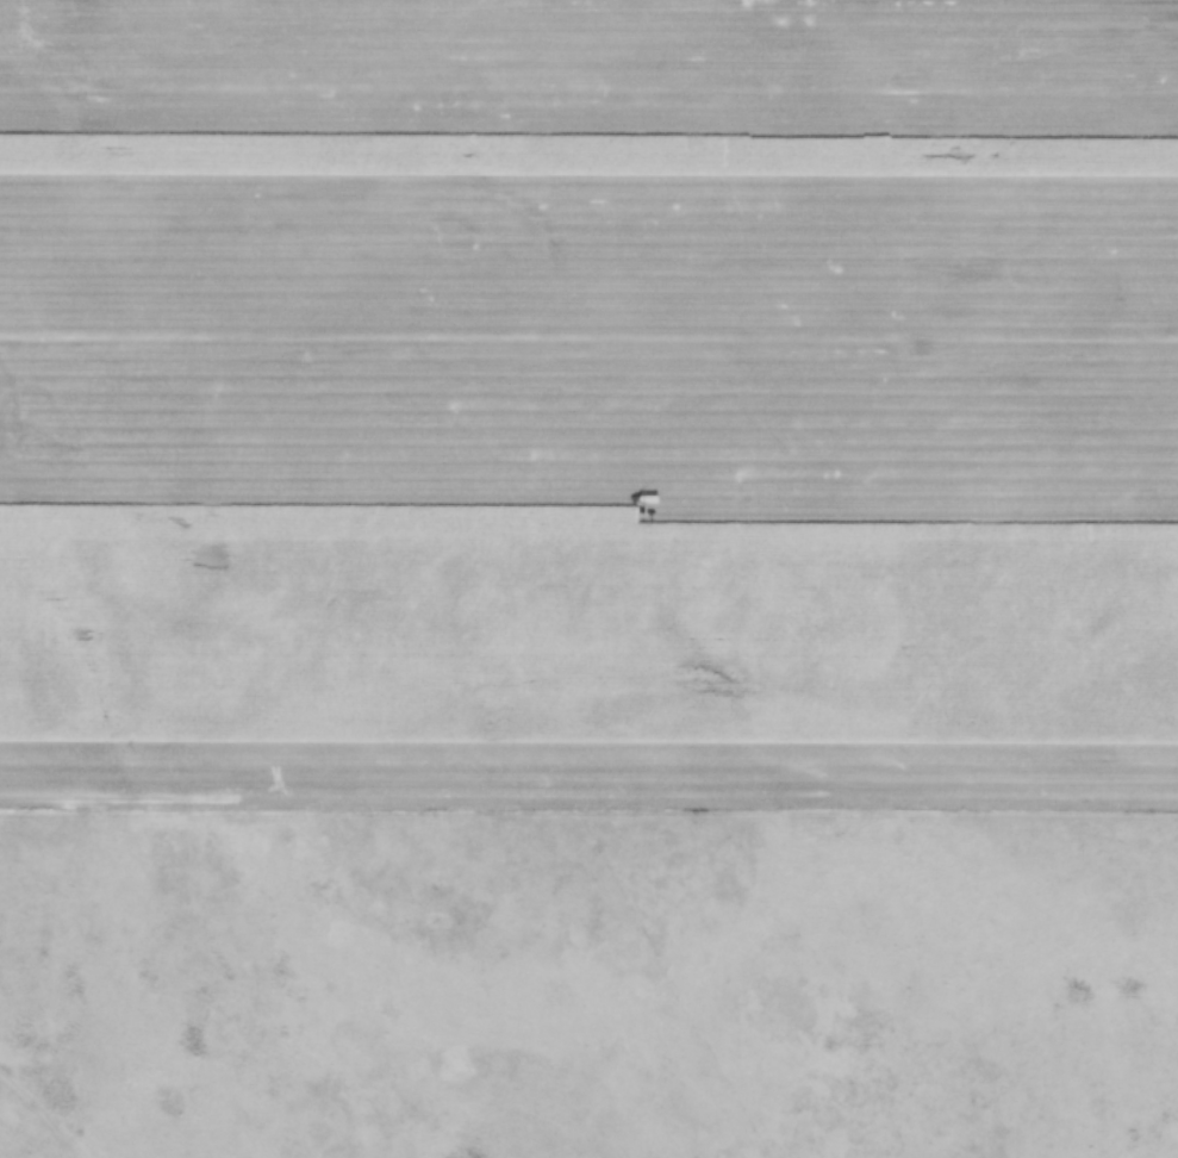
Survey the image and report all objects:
crop: (588, 461)

